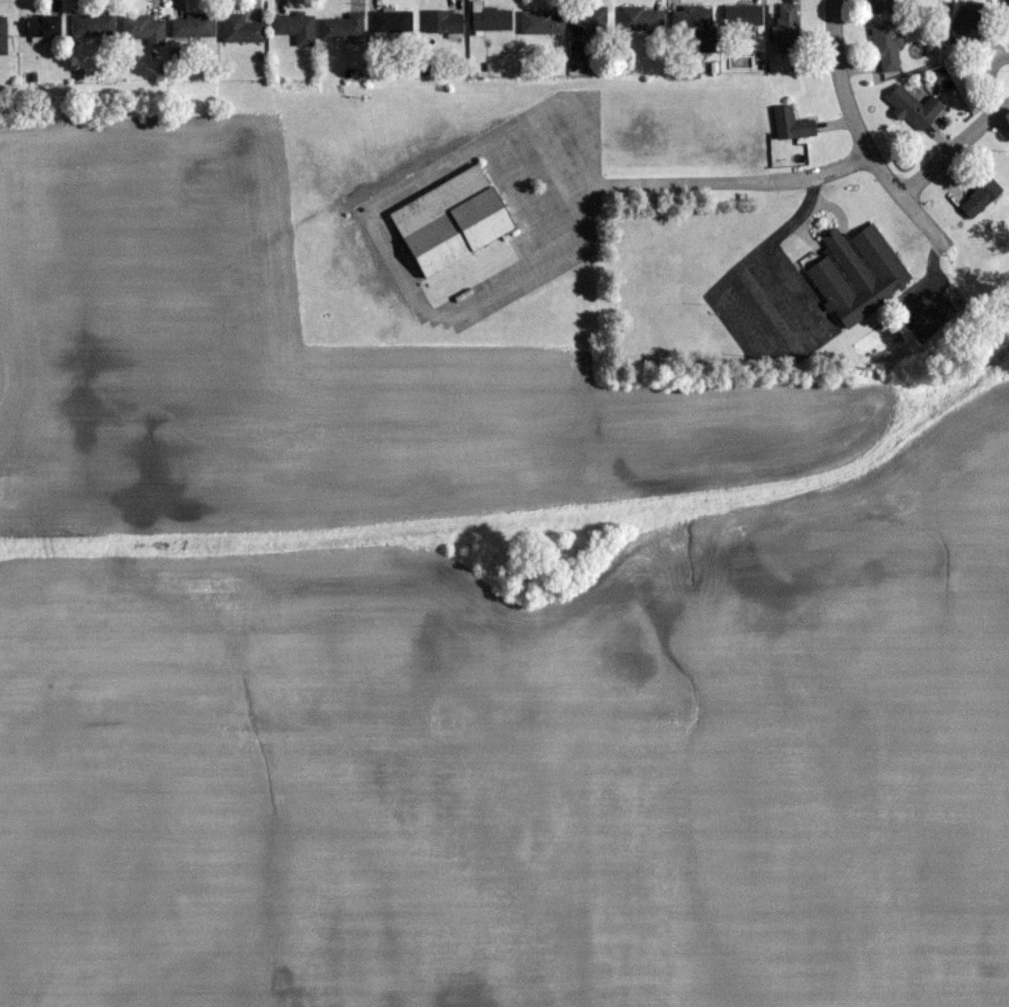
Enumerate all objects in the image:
building: (882, 6)
building: (1008, 6)
building: (491, 17)
building: (642, 17)
building: (744, 17)
building: (393, 19)
building: (966, 19)
building: (590, 20)
building: (445, 21)
building: (543, 21)
building: (93, 24)
building: (194, 24)
building: (698, 24)
building: (44, 25)
building: (344, 25)
building: (296, 26)
building: (787, 26)
building: (144, 28)
building: (241, 28)
building: (3, 34)
building: (887, 46)
road: (994, 83)
building: (915, 106)
building: (793, 123)
road: (562, 126)
road: (862, 135)
road: (952, 150)
road: (865, 188)
building: (982, 193)
road: (561, 204)
road: (512, 205)
building: (453, 219)
road: (761, 253)
building: (858, 273)
road: (506, 287)

